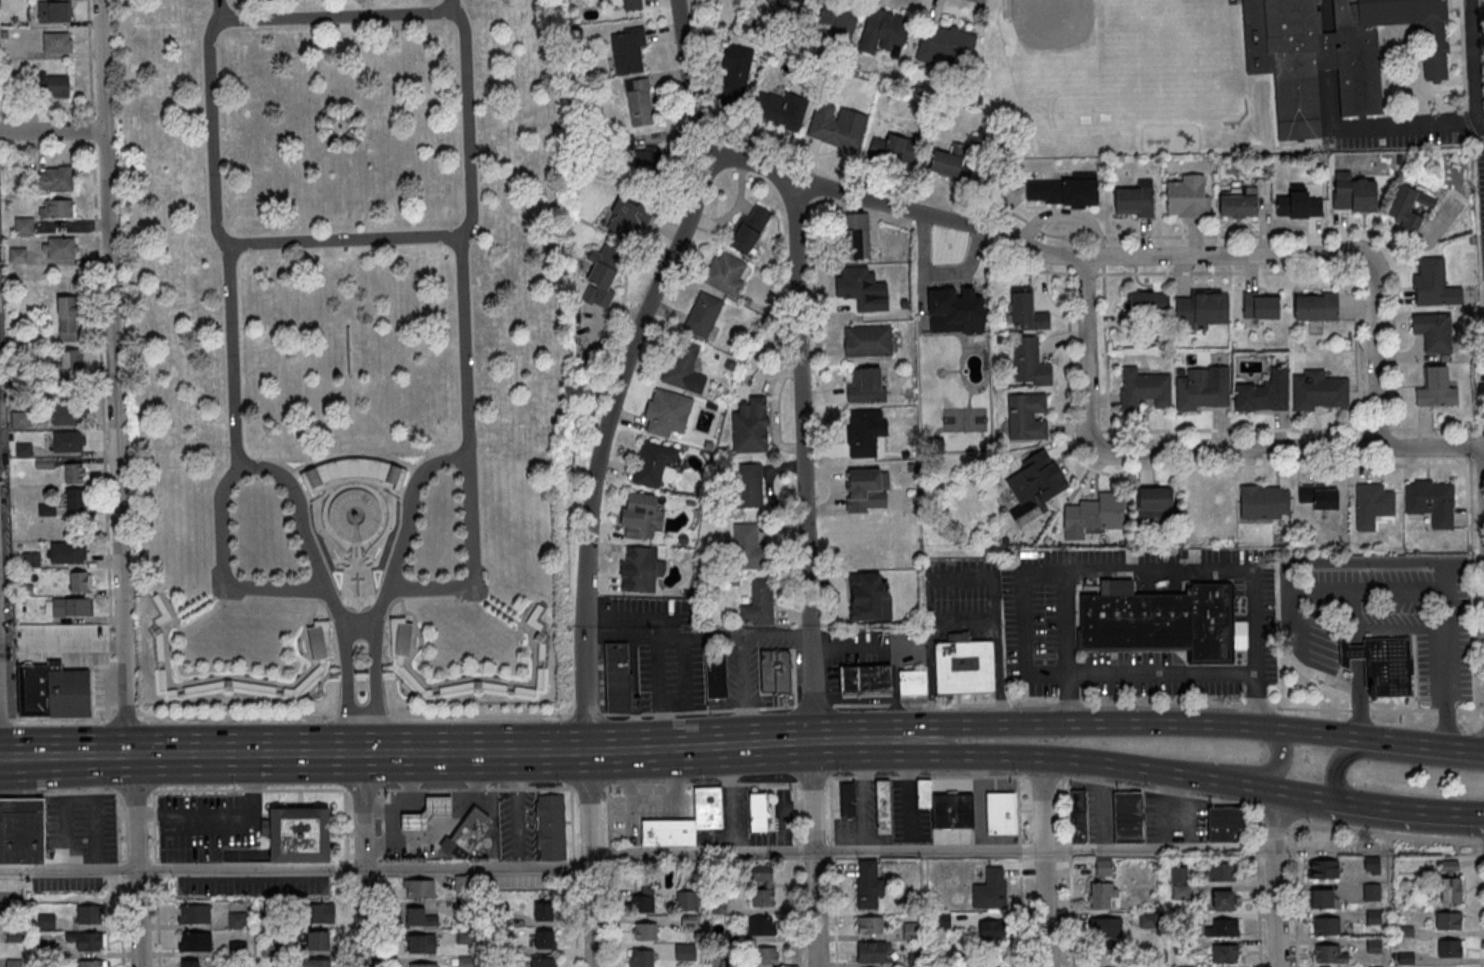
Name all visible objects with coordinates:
building: (798, 1)
building: (782, 2)
road: (450, 5)
building: (632, 5)
road: (220, 7)
building: (53, 10)
road: (1326, 16)
building: (840, 17)
building: (882, 30)
building: (57, 41)
building: (627, 50)
building: (948, 50)
road: (1329, 51)
building: (1334, 53)
road: (1471, 62)
building: (735, 74)
building: (57, 85)
building: (639, 102)
building: (780, 109)
building: (838, 126)
road: (1377, 126)
road: (51, 131)
parking lot: (1413, 144)
building: (896, 149)
building: (647, 158)
building: (954, 169)
building: (52, 178)
building: (1066, 191)
building: (1354, 194)
building: (1188, 197)
building: (1136, 199)
building: (1298, 202)
building: (1239, 207)
building: (1408, 207)
building: (56, 208)
road: (468, 208)
building: (629, 217)
building: (23, 226)
building: (748, 230)
building: (854, 236)
building: (59, 247)
road: (1116, 255)
building: (726, 274)
building: (602, 275)
building: (1434, 284)
building: (858, 287)
building: (1261, 306)
building: (1317, 307)
building: (1142, 308)
building: (959, 309)
building: (1202, 309)
building: (1027, 310)
building: (703, 315)
building: (67, 318)
building: (1434, 332)
building: (868, 342)
park: (344, 347)
road: (100, 358)
building: (1030, 362)
road: (622, 368)
building: (684, 368)
building: (66, 370)
building: (864, 384)
building: (1144, 389)
building: (1203, 389)
building: (1436, 389)
building: (1319, 391)
building: (1263, 393)
building: (668, 412)
building: (65, 413)
building: (1027, 417)
building: (19, 419)
building: (751, 426)
building: (863, 433)
building: (68, 440)
road: (465, 448)
road: (1194, 448)
road: (235, 459)
road: (802, 459)
building: (653, 463)
building: (74, 472)
road: (117, 483)
building: (751, 484)
building: (1037, 484)
building: (867, 489)
building: (1319, 497)
building: (74, 498)
building: (1155, 501)
building: (1264, 502)
building: (1432, 502)
building: (1373, 505)
building: (1096, 513)
building: (355, 515)
building: (641, 516)
building: (750, 548)
building: (66, 551)
road: (1421, 558)
road: (470, 561)
road: (1162, 564)
building: (639, 570)
road: (223, 575)
road: (959, 577)
building: (80, 581)
road: (1382, 583)
building: (869, 597)
building: (760, 603)
building: (68, 606)
road: (1025, 615)
road: (358, 619)
building: (1161, 621)
road: (1386, 625)
road: (1358, 627)
road: (696, 634)
building: (400, 637)
building: (318, 641)
road: (76, 644)
road: (868, 645)
road: (1358, 648)
building: (1380, 664)
building: (964, 668)
building: (715, 670)
road: (1163, 670)
building: (773, 671)
building: (617, 677)
building: (865, 680)
building: (912, 682)
road: (345, 686)
road: (376, 686)
building: (33, 689)
building: (67, 690)
road: (894, 690)
road: (1358, 699)
road: (1157, 703)
road: (813, 704)
road: (398, 715)
road: (1103, 724)
road: (830, 742)
road: (1419, 746)
road: (697, 747)
road: (473, 752)
road: (1384, 755)
road: (180, 756)
road: (1280, 762)
road: (1095, 764)
road: (152, 772)
road: (926, 776)
road: (1043, 776)
road: (813, 780)
road: (704, 783)
road: (492, 788)
road: (361, 789)
road: (232, 790)
road: (1158, 791)
building: (923, 792)
road: (59, 793)
road: (153, 796)
road: (810, 797)
building: (847, 799)
building: (882, 803)
road: (586, 805)
building: (709, 808)
building: (952, 809)
road: (363, 810)
road: (831, 810)
road: (1258, 810)
building: (757, 811)
building: (426, 812)
building: (1000, 812)
road: (1410, 812)
road: (154, 813)
road: (794, 813)
road: (608, 815)
building: (1078, 815)
road: (1275, 815)
building: (1127, 816)
parking lot: (84, 817)
road: (225, 818)
road: (571, 823)
building: (1227, 823)
road: (345, 824)
parking lot: (199, 825)
road: (382, 825)
parking lot: (517, 825)
building: (550, 826)
building: (21, 830)
building: (466, 832)
building: (668, 832)
road: (1386, 833)
building: (297, 834)
road: (1483, 840)
road: (1098, 848)
road: (795, 850)
road: (608, 851)
road: (832, 851)
road: (119, 862)
road: (1043, 862)
building: (1371, 865)
road: (572, 866)
road: (347, 867)
road: (383, 867)
road: (407, 867)
building: (1448, 867)
building: (1323, 868)
road: (1019, 871)
road: (1070, 871)
building: (1219, 871)
road: (477, 875)
building: (1178, 875)
road: (1274, 877)
parking lot: (66, 882)
building: (867, 883)
parking lot: (252, 884)
building: (762, 884)
building: (1102, 886)
road: (1258, 887)
building: (418, 888)
building: (1450, 890)
building: (13, 891)
building: (1371, 891)
road: (155, 893)
road: (1294, 894)
building: (1322, 898)
building: (1223, 899)
building: (642, 900)
building: (686, 900)
road: (1479, 903)
road: (814, 909)
building: (543, 911)
building: (316, 912)
road: (609, 912)
road: (797, 912)
road: (833, 912)
building: (89, 913)
building: (194, 913)
road: (590, 913)
road: (366, 917)
building: (419, 917)
building: (46, 920)
building: (237, 920)
road: (348, 920)
road: (384, 920)
road: (573, 920)
building: (1448, 920)
building: (869, 924)
building: (762, 925)
building: (1325, 925)
building: (1105, 927)
building: (1221, 927)
building: (912, 930)
building: (644, 931)
building: (991, 932)
building: (544, 938)
building: (86, 940)
building: (317, 940)
building: (194, 941)
building: (421, 943)
building: (1450, 948)
building: (684, 951)
building: (873, 951)
building: (1225, 953)
building: (1328, 953)
building: (766, 955)
building: (641, 957)
building: (463, 961)
building: (542, 962)
building: (13, 963)
building: (90, 963)
building: (189, 963)
building: (317, 963)
building: (423, 965)

